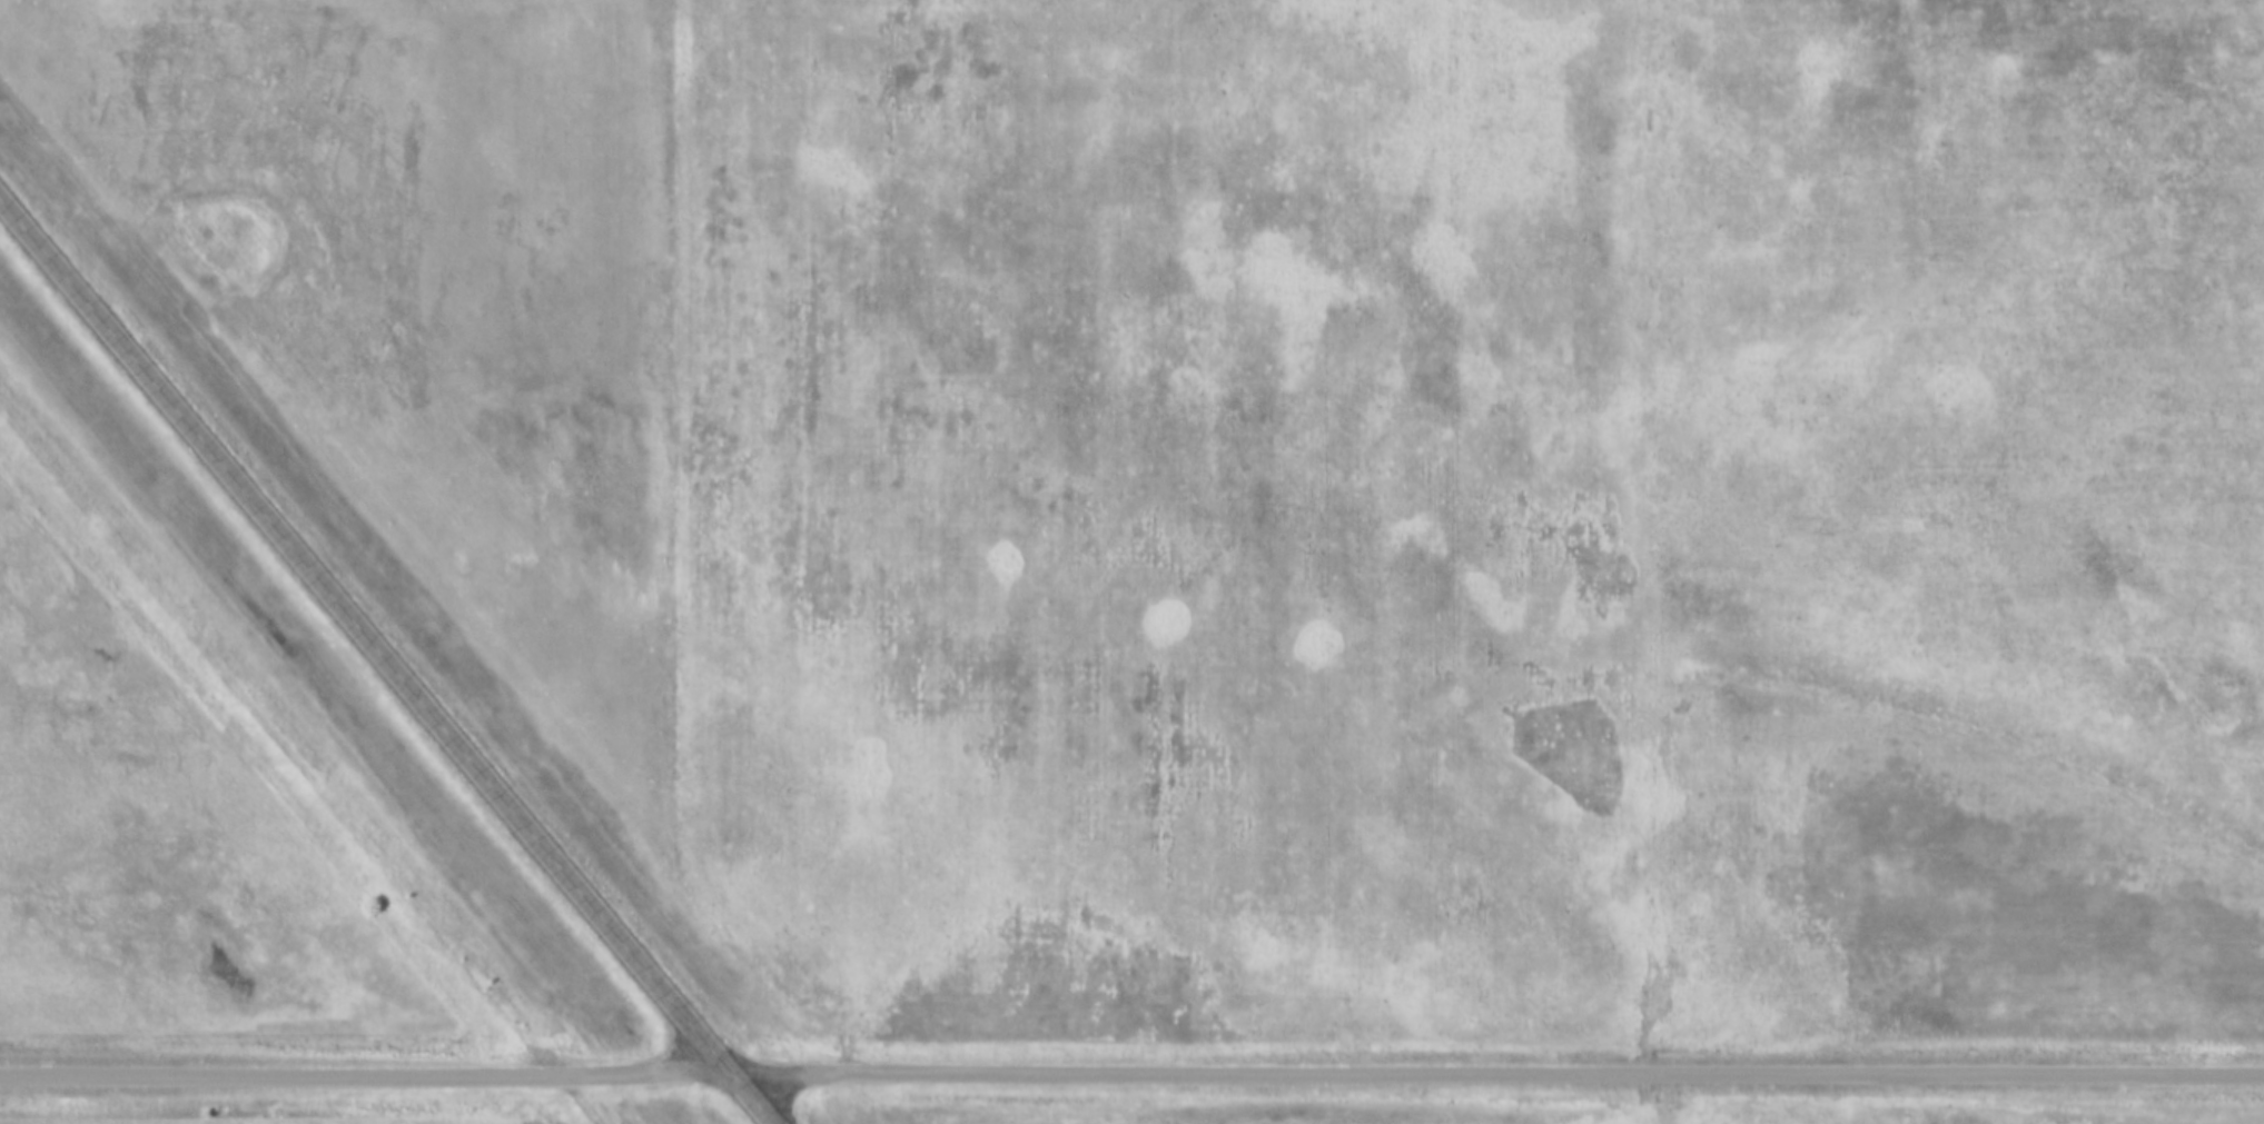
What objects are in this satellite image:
road: (678, 538)
road: (388, 657)
road: (1131, 1072)

